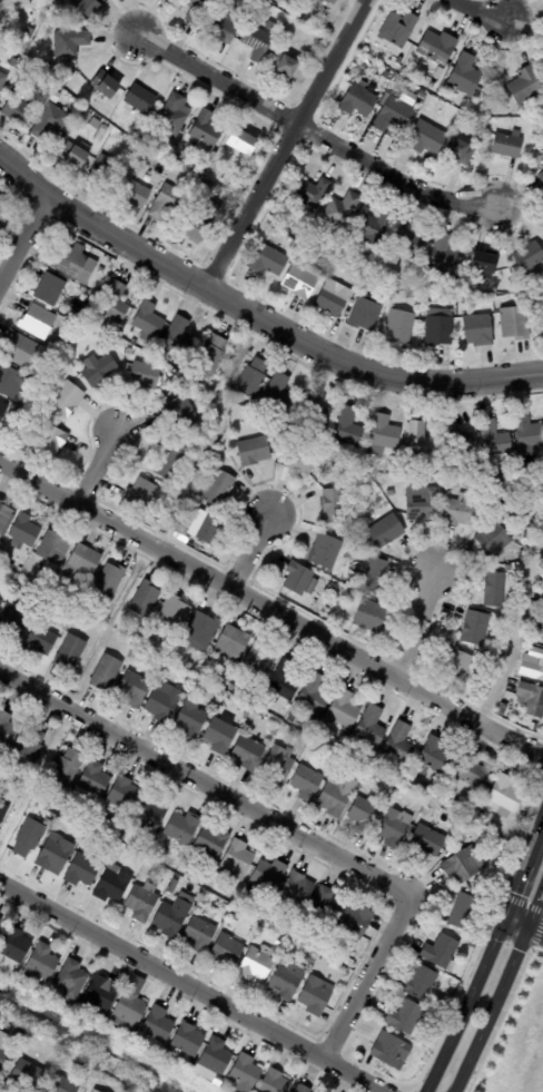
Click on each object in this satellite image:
building: (334, 2)
building: (17, 4)
building: (89, 7)
building: (198, 10)
road: (481, 10)
building: (224, 29)
building: (399, 30)
building: (30, 33)
building: (71, 42)
building: (258, 42)
building: (437, 48)
building: (398, 61)
building: (13, 62)
building: (286, 65)
building: (376, 68)
building: (465, 75)
road: (215, 77)
building: (3, 81)
building: (433, 85)
building: (108, 86)
building: (527, 87)
building: (142, 99)
building: (361, 101)
building: (21, 111)
building: (174, 117)
building: (395, 117)
building: (51, 121)
building: (467, 121)
building: (122, 122)
building: (208, 130)
building: (426, 138)
building: (148, 139)
building: (246, 142)
road: (284, 142)
building: (154, 145)
building: (509, 145)
building: (462, 151)
building: (76, 155)
building: (542, 158)
building: (139, 165)
building: (107, 170)
road: (391, 176)
building: (542, 177)
building: (314, 189)
building: (206, 191)
building: (136, 193)
building: (168, 201)
building: (2, 203)
building: (344, 210)
building: (203, 223)
building: (374, 227)
road: (22, 237)
building: (408, 242)
building: (334, 253)
building: (444, 253)
building: (530, 257)
building: (68, 258)
building: (359, 258)
building: (385, 260)
building: (269, 262)
building: (486, 263)
building: (302, 281)
building: (477, 288)
building: (50, 289)
building: (416, 294)
building: (468, 296)
building: (333, 301)
building: (116, 302)
building: (73, 313)
road: (255, 314)
building: (366, 314)
building: (149, 319)
building: (38, 321)
building: (515, 323)
building: (540, 323)
building: (401, 326)
building: (478, 331)
building: (438, 332)
building: (179, 336)
building: (22, 350)
building: (129, 352)
building: (214, 353)
building: (99, 368)
building: (146, 373)
building: (49, 374)
building: (254, 378)
building: (8, 380)
building: (43, 386)
building: (279, 394)
building: (66, 400)
building: (11, 409)
building: (3, 410)
building: (184, 410)
building: (317, 410)
building: (19, 411)
building: (348, 426)
building: (284, 431)
building: (384, 434)
building: (530, 435)
building: (494, 437)
building: (458, 439)
building: (50, 441)
building: (424, 443)
building: (255, 450)
building: (300, 459)
building: (171, 461)
building: (395, 468)
road: (97, 469)
building: (407, 471)
building: (219, 488)
building: (141, 493)
building: (425, 503)
building: (334, 505)
building: (194, 506)
building: (463, 511)
building: (500, 511)
building: (4, 517)
building: (210, 530)
building: (386, 530)
building: (24, 532)
building: (494, 539)
building: (56, 547)
road: (249, 551)
building: (327, 552)
building: (85, 560)
building: (10, 567)
building: (509, 568)
building: (375, 574)
building: (110, 579)
building: (302, 580)
building: (354, 584)
building: (333, 587)
building: (496, 589)
building: (146, 599)
building: (541, 602)
building: (1, 603)
road: (270, 608)
building: (175, 611)
building: (369, 616)
building: (18, 618)
building: (541, 620)
road: (416, 626)
road: (515, 626)
building: (477, 628)
building: (204, 631)
building: (156, 633)
building: (42, 640)
building: (233, 642)
building: (72, 652)
building: (179, 656)
building: (480, 656)
building: (260, 658)
building: (460, 662)
building: (533, 667)
building: (156, 670)
building: (108, 671)
building: (207, 676)
building: (224, 679)
building: (286, 680)
building: (231, 687)
building: (136, 688)
building: (316, 693)
building: (533, 698)
building: (165, 702)
building: (345, 709)
building: (502, 710)
building: (283, 715)
building: (293, 717)
building: (191, 718)
building: (373, 726)
building: (8, 728)
building: (220, 736)
building: (401, 744)
building: (29, 747)
building: (248, 752)
building: (437, 755)
building: (365, 758)
building: (280, 763)
building: (68, 768)
building: (337, 771)
building: (474, 773)
building: (335, 778)
building: (93, 781)
building: (307, 783)
building: (431, 794)
building: (125, 795)
building: (337, 797)
building: (505, 797)
building: (406, 799)
building: (69, 807)
building: (3, 811)
building: (438, 811)
building: (152, 813)
building: (365, 814)
building: (55, 815)
building: (482, 817)
building: (50, 823)
building: (182, 827)
road: (286, 827)
building: (396, 827)
building: (81, 829)
building: (30, 837)
building: (463, 837)
building: (431, 838)
road: (533, 840)
building: (213, 842)
building: (57, 854)
building: (238, 860)
building: (464, 865)
building: (85, 870)
building: (269, 876)
building: (115, 884)
building: (172, 886)
building: (298, 888)
road: (514, 891)
building: (144, 902)
building: (327, 905)
building: (465, 909)
building: (174, 915)
traffic signals: (505, 915)
building: (1, 923)
building: (356, 923)
road: (524, 923)
traffic signals: (529, 925)
building: (289, 927)
building: (0, 933)
building: (200, 934)
building: (279, 942)
building: (475, 944)
building: (17, 945)
building: (355, 945)
building: (228, 951)
building: (442, 951)
building: (313, 960)
building: (45, 963)
building: (257, 964)
building: (408, 964)
building: (333, 965)
building: (13, 971)
building: (73, 977)
building: (288, 982)
building: (423, 983)
road: (191, 987)
road: (501, 990)
building: (105, 993)
building: (317, 995)
road: (466, 1004)
building: (132, 1005)
building: (407, 1016)
building: (160, 1024)
building: (131, 1032)
building: (190, 1040)
building: (1, 1041)
building: (393, 1051)
building: (217, 1056)
building: (3, 1059)
building: (66, 1059)
building: (81, 1062)
building: (246, 1073)
building: (28, 1074)
building: (220, 1081)
building: (276, 1082)
building: (63, 1085)
building: (304, 1089)
building: (90, 1091)
building: (95, 1091)

